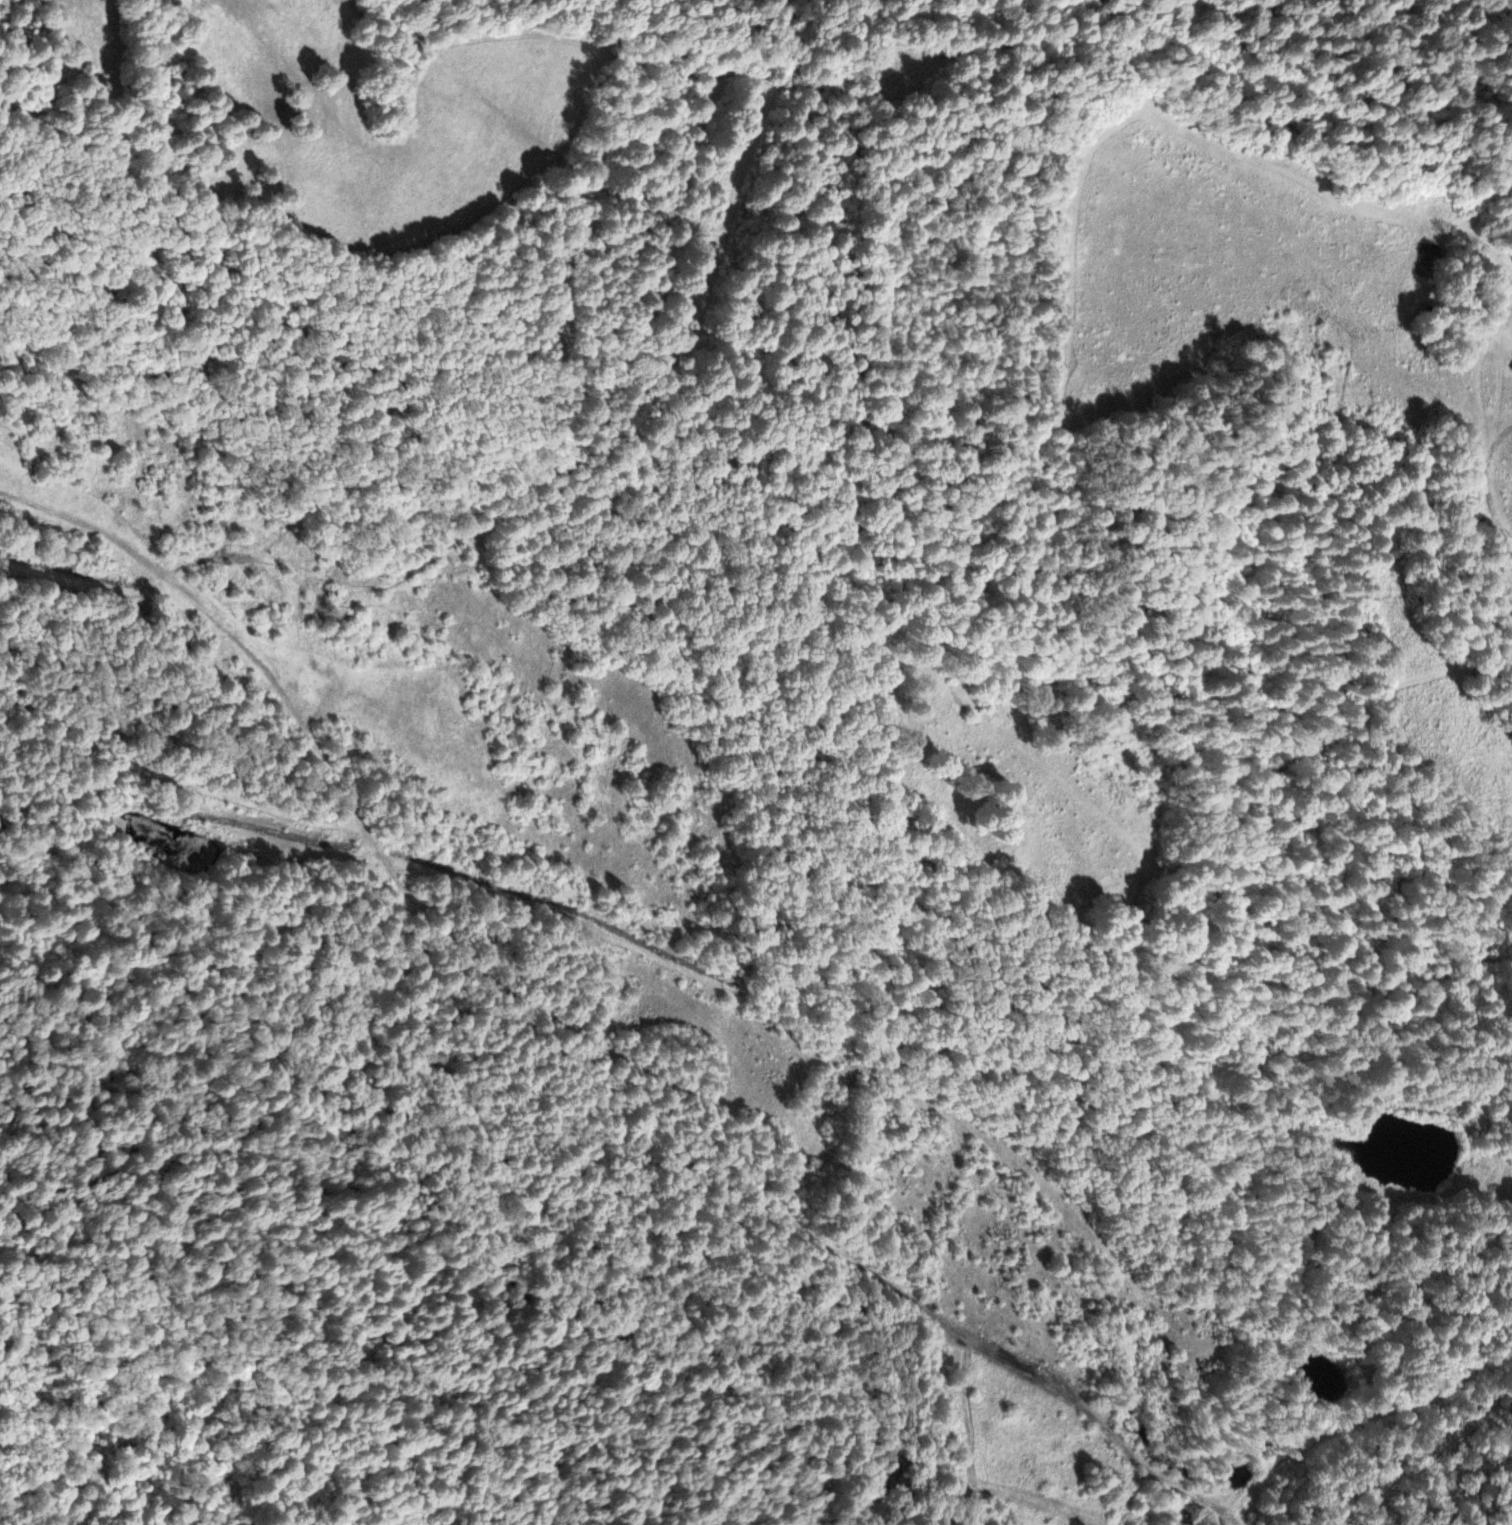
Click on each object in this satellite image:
building: (1511, 371)
road: (593, 1032)
road: (203, 1499)

